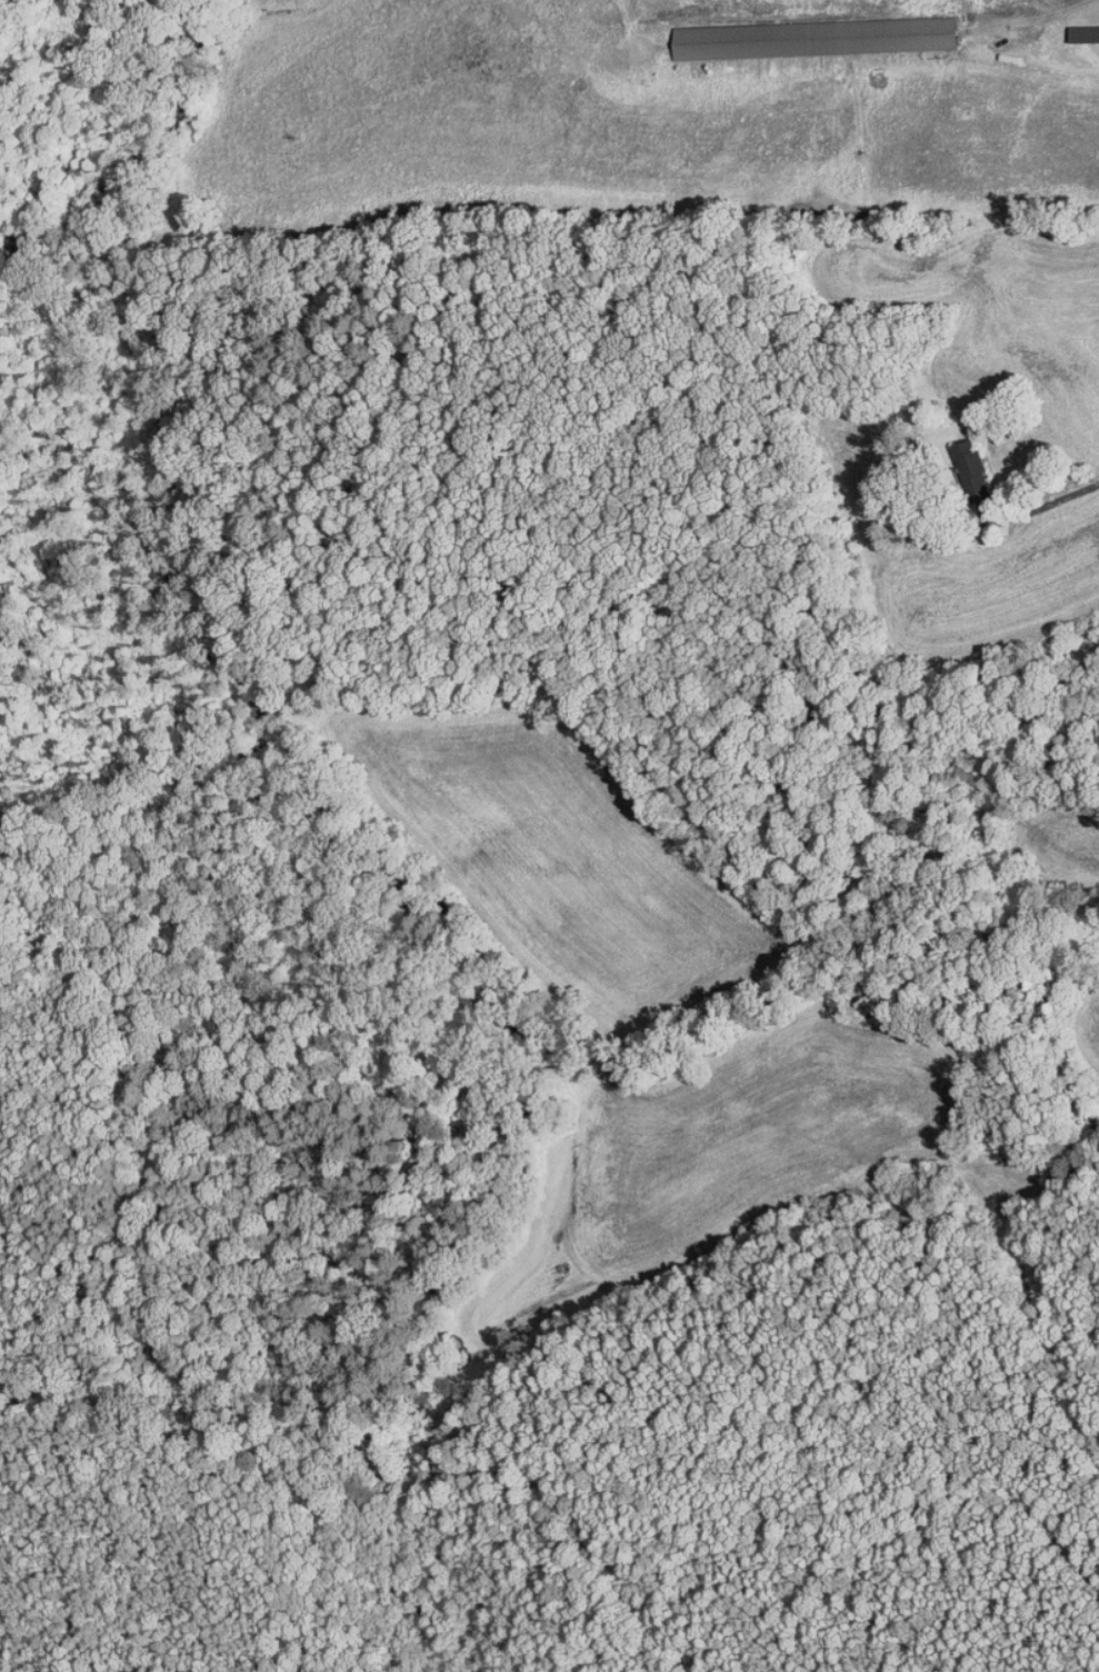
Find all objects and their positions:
road: (1032, 18)
building: (1080, 28)
building: (808, 31)
building: (963, 456)
road: (1056, 500)

